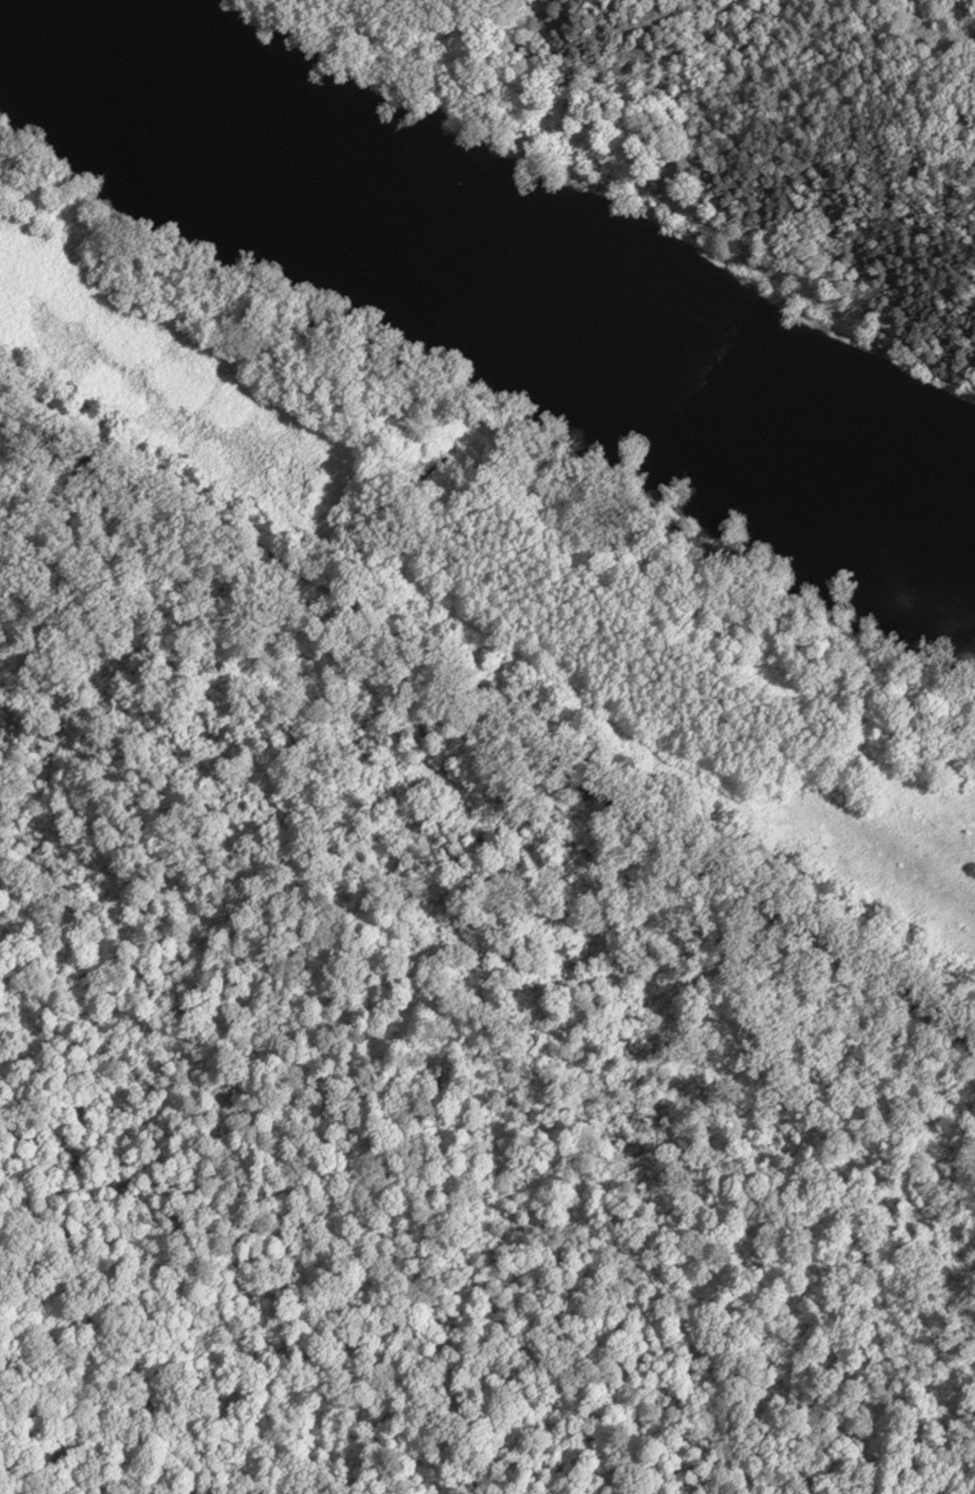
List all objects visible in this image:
river: (495, 267)
road: (487, 696)
road: (118, 1379)

